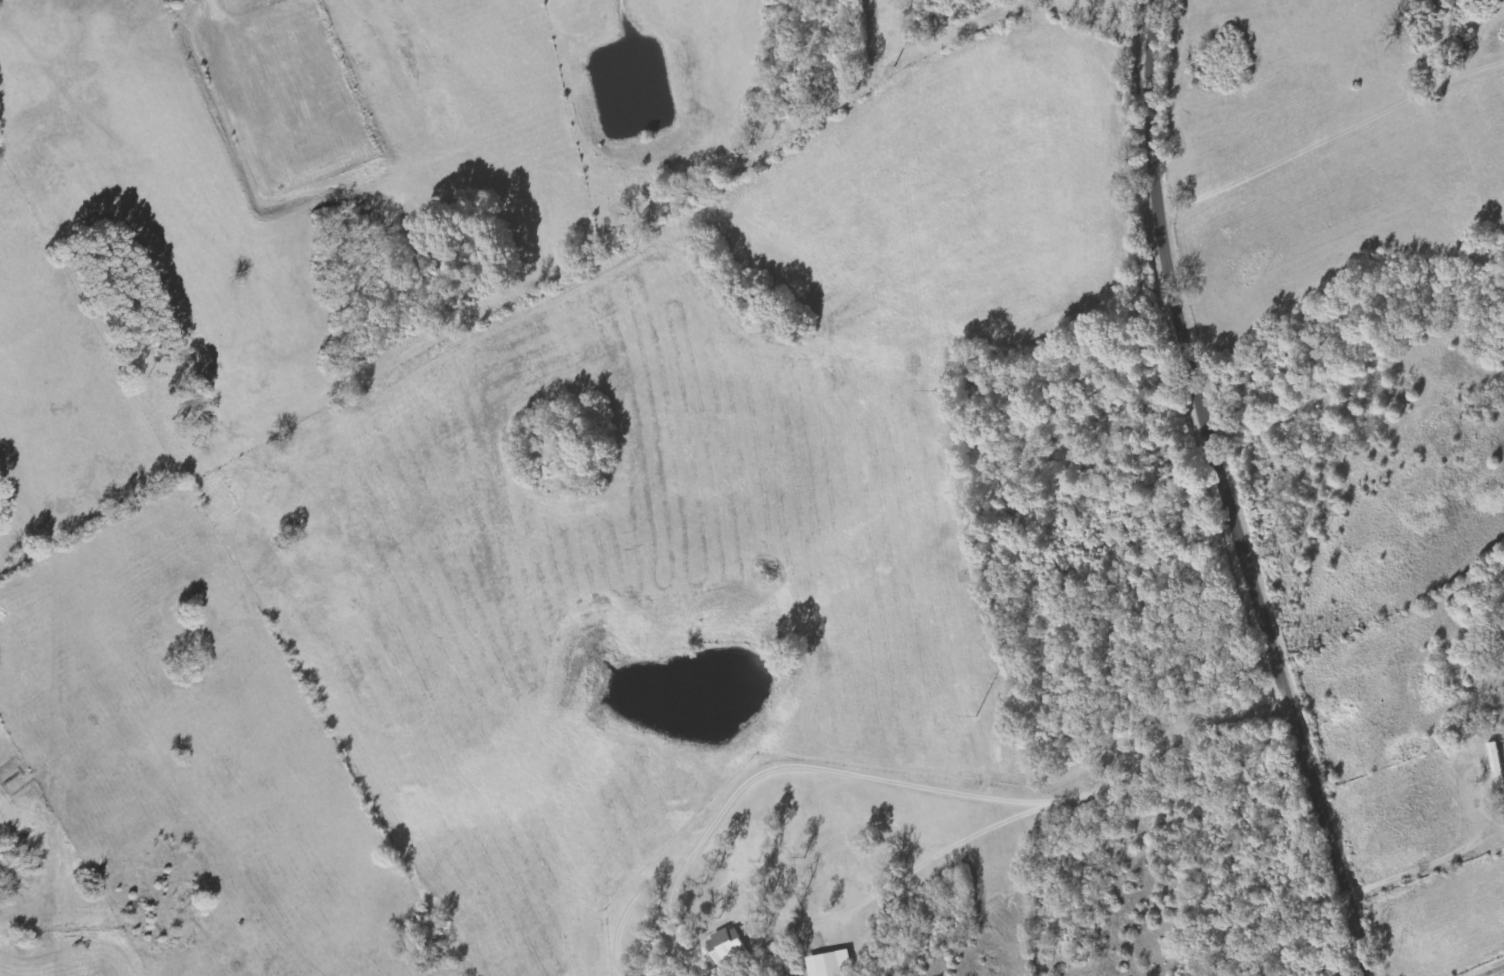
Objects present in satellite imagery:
road: (220, 13)
power tower: (892, 65)
road: (1330, 139)
road: (308, 173)
power tower: (933, 390)
road: (1232, 491)
power tower: (974, 715)
building: (1497, 764)
building: (729, 946)
building: (832, 964)

